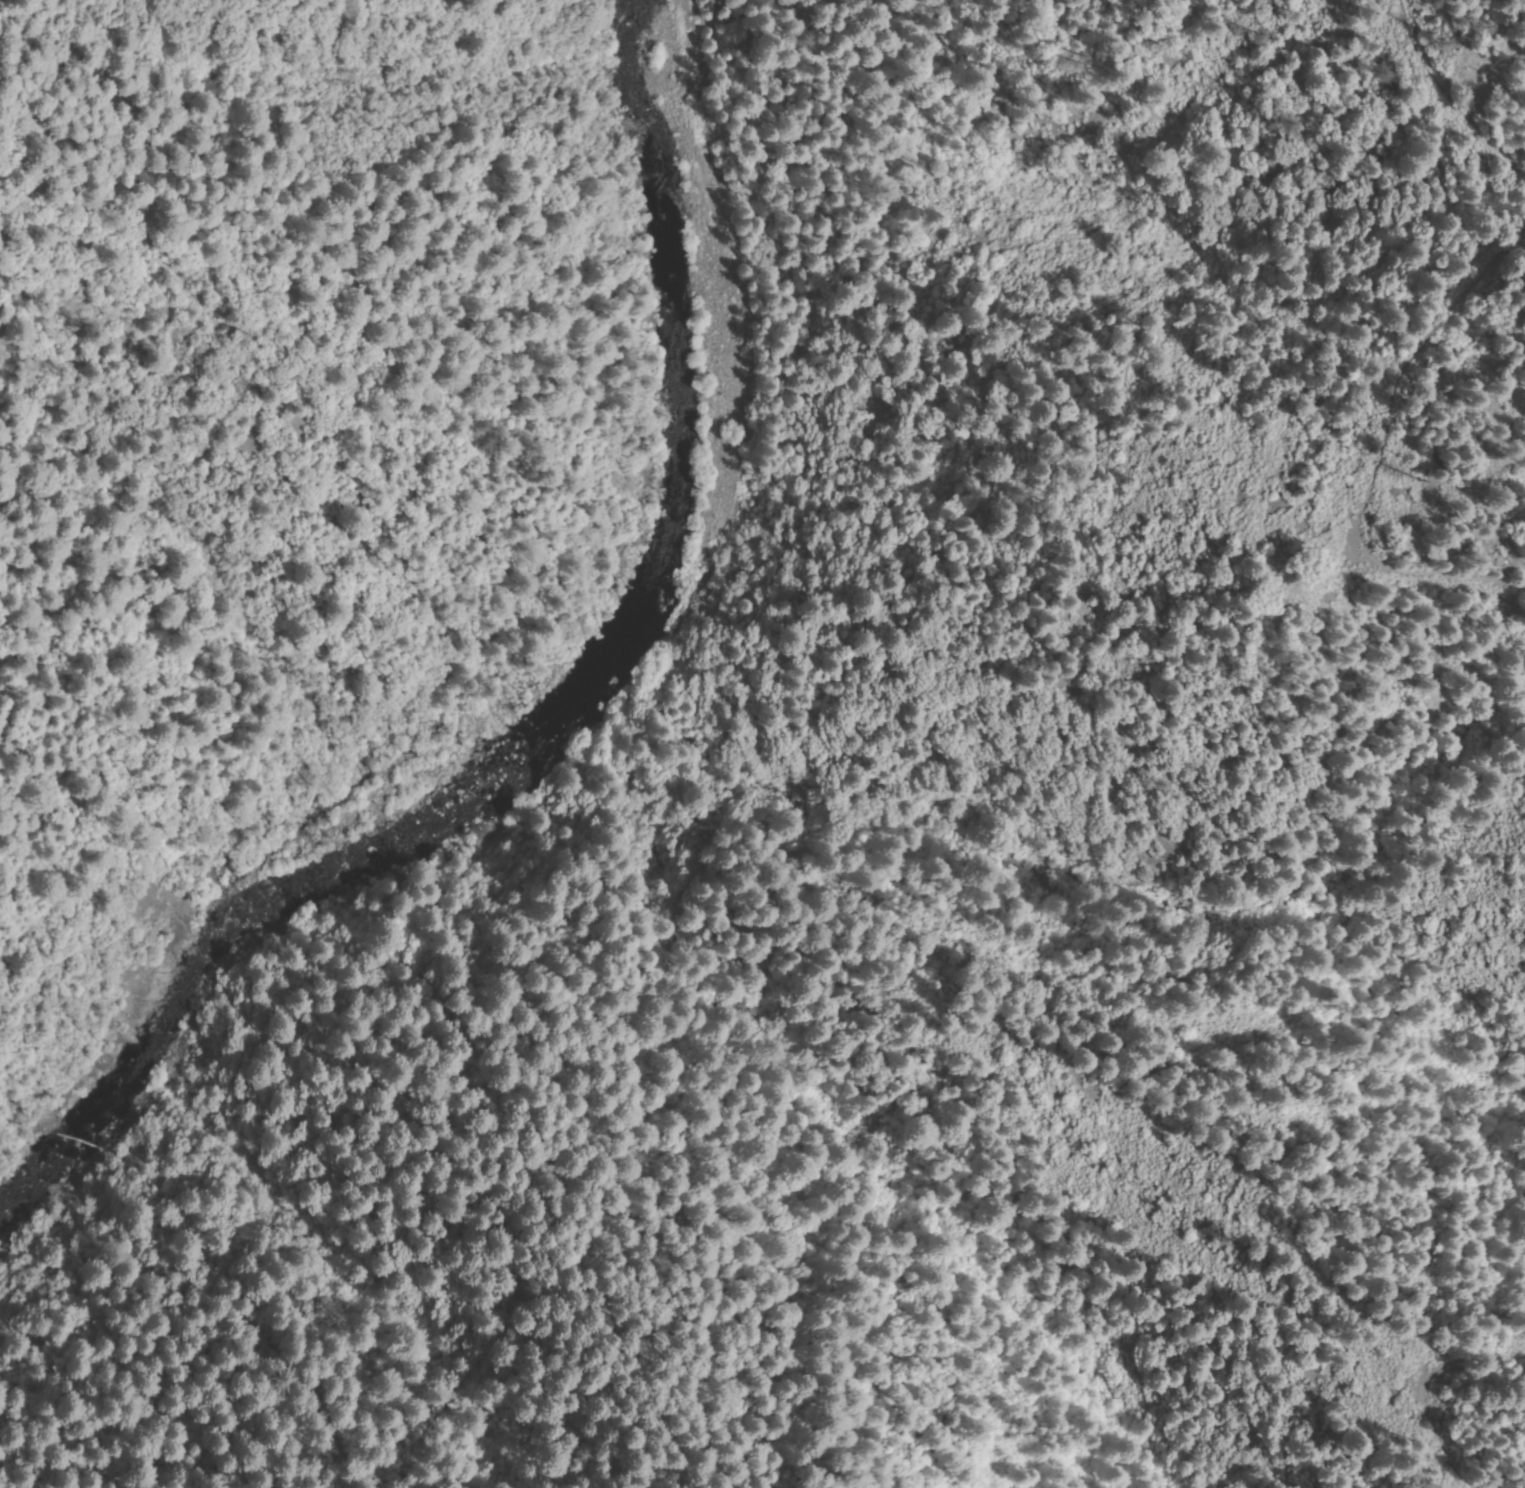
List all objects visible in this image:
road: (1450, 336)
road: (1454, 1391)

